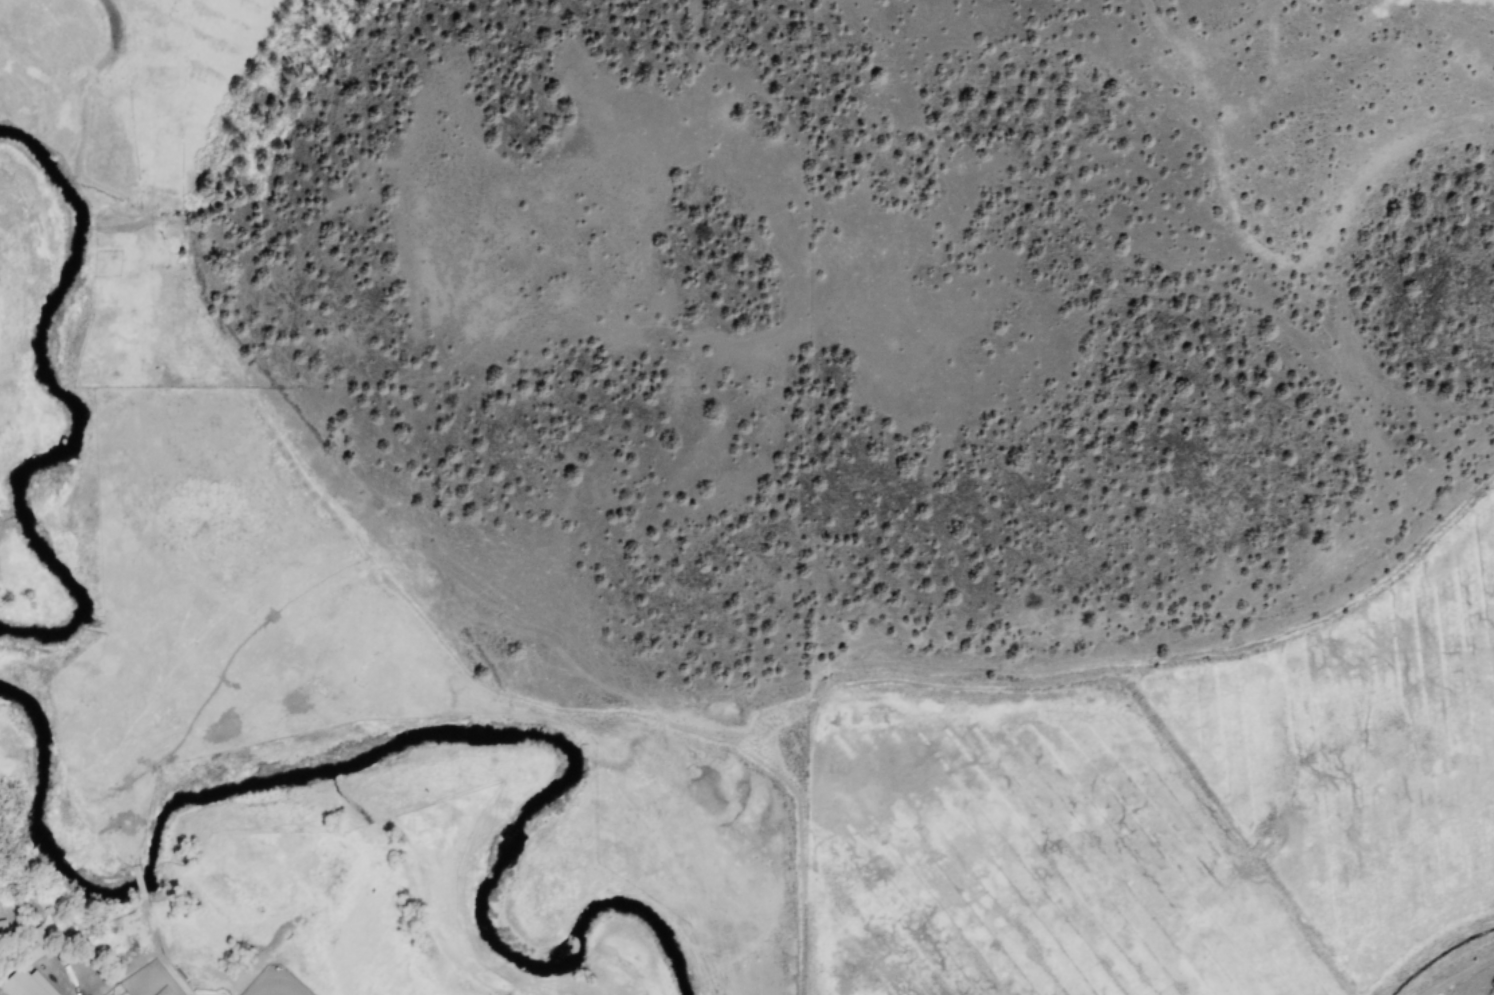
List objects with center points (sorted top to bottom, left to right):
river: (64, 421)
river: (419, 740)
building: (26, 984)

